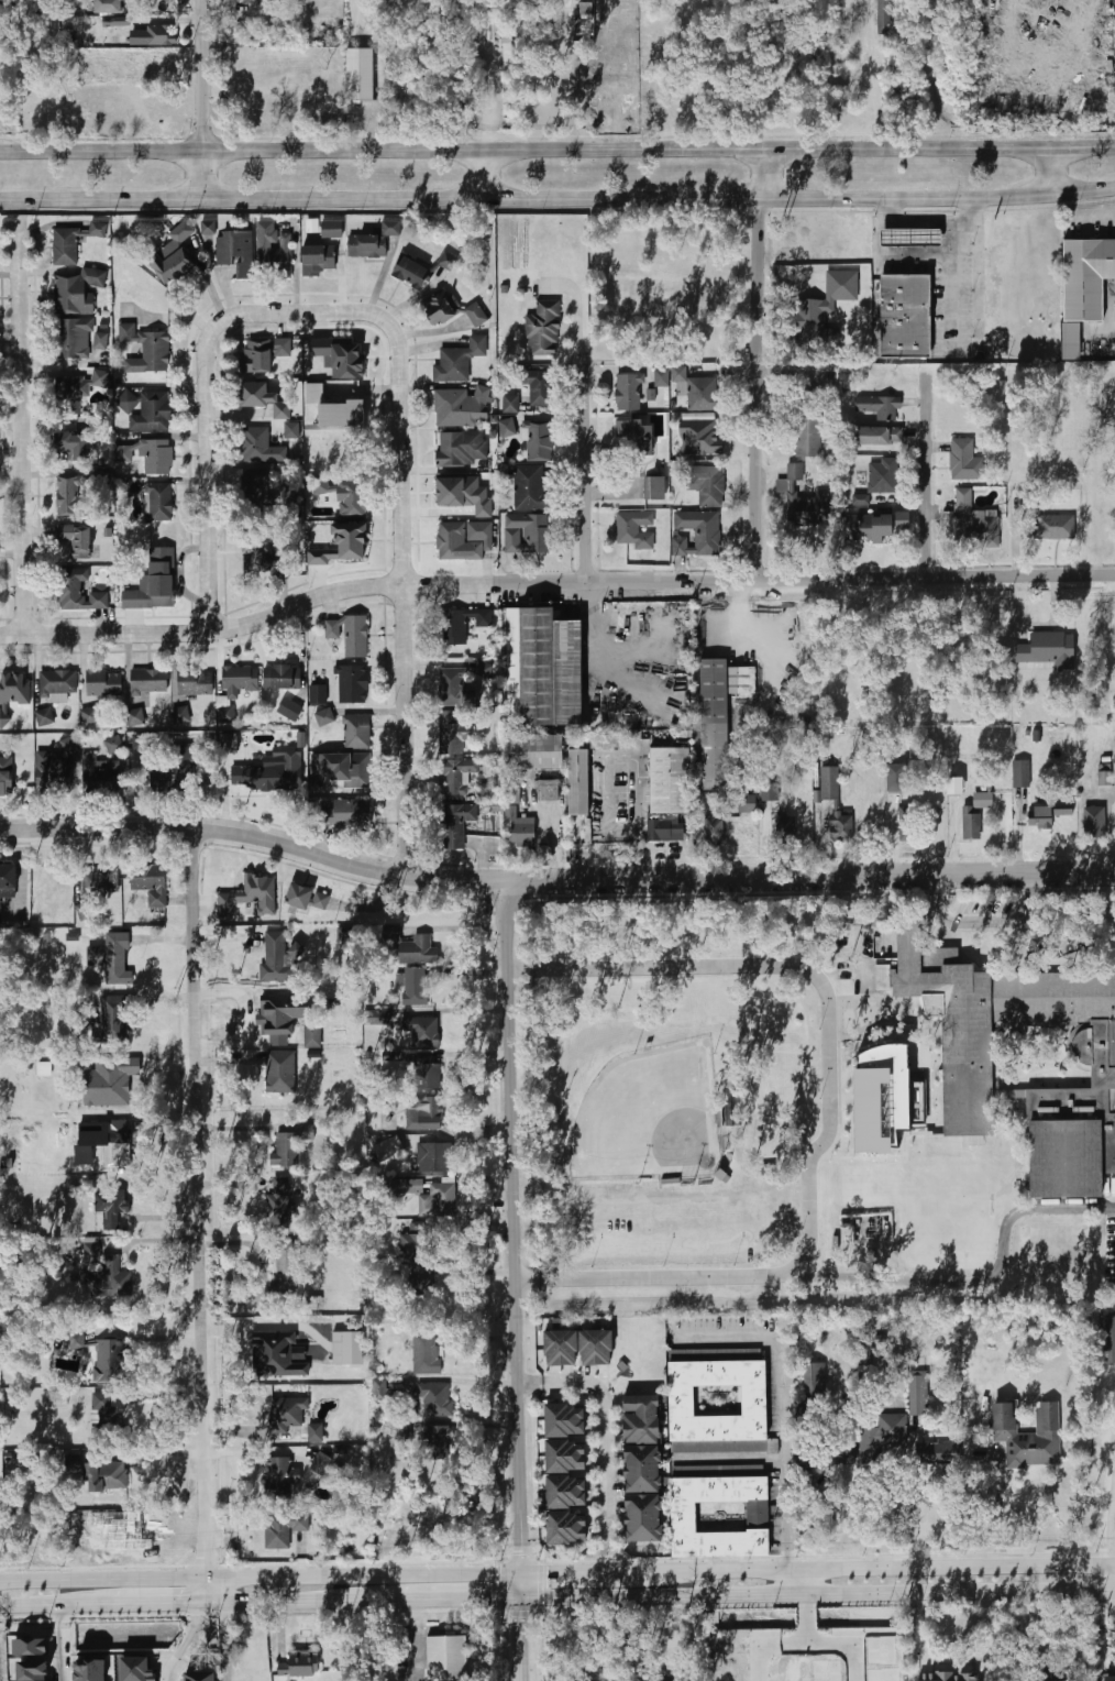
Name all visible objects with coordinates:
building: (109, 7)
building: (885, 13)
building: (161, 35)
building: (507, 70)
building: (360, 74)
road: (200, 99)
road: (557, 147)
road: (1055, 171)
road: (481, 173)
road: (557, 198)
road: (931, 221)
building: (97, 229)
building: (331, 229)
building: (909, 238)
gas station: (909, 238)
building: (373, 241)
building: (65, 246)
building: (235, 252)
building: (274, 252)
road: (894, 253)
building: (319, 261)
building: (448, 261)
building: (179, 265)
building: (411, 273)
building: (1086, 277)
road: (951, 287)
building: (77, 292)
building: (825, 308)
building: (440, 309)
building: (476, 315)
building: (904, 315)
road: (1112, 326)
building: (543, 328)
building: (71, 339)
road: (584, 339)
building: (101, 341)
building: (1071, 341)
building: (146, 349)
building: (263, 354)
building: (340, 356)
building: (459, 361)
road: (759, 362)
road: (606, 369)
building: (662, 377)
building: (538, 386)
road: (208, 387)
building: (76, 391)
building: (699, 391)
building: (629, 393)
building: (264, 399)
building: (510, 404)
building: (461, 407)
building: (879, 407)
building: (146, 409)
building: (343, 414)
building: (698, 415)
building: (809, 426)
road: (24, 427)
building: (507, 428)
building: (290, 430)
building: (877, 436)
building: (699, 437)
building: (634, 439)
building: (540, 442)
building: (258, 447)
building: (70, 448)
building: (462, 448)
building: (156, 458)
building: (964, 461)
road: (930, 470)
building: (883, 475)
road: (588, 476)
building: (706, 484)
building: (129, 488)
building: (254, 488)
building: (531, 488)
building: (656, 488)
building: (464, 492)
road: (614, 493)
building: (68, 495)
building: (354, 498)
building: (861, 499)
building: (804, 501)
building: (159, 503)
road: (438, 512)
building: (976, 521)
building: (875, 526)
building: (1053, 526)
building: (636, 529)
building: (528, 534)
building: (697, 534)
building: (77, 539)
building: (456, 542)
building: (344, 546)
building: (263, 558)
road: (649, 568)
road: (515, 570)
road: (483, 574)
building: (155, 582)
road: (553, 583)
building: (77, 591)
road: (407, 597)
building: (461, 625)
building: (350, 635)
building: (1046, 648)
building: (543, 669)
building: (283, 678)
building: (148, 681)
building: (195, 682)
building: (104, 683)
building: (56, 684)
building: (352, 684)
building: (452, 686)
building: (234, 689)
building: (12, 693)
building: (318, 694)
building: (289, 710)
building: (180, 715)
building: (719, 715)
building: (45, 716)
building: (89, 716)
building: (133, 717)
building: (325, 717)
building: (356, 732)
building: (452, 732)
building: (143, 741)
building: (229, 744)
building: (114, 745)
building: (536, 751)
building: (55, 768)
building: (342, 768)
building: (172, 770)
building: (273, 771)
building: (100, 773)
building: (1022, 773)
building: (5, 776)
building: (457, 777)
building: (895, 778)
building: (1105, 779)
building: (578, 782)
building: (829, 782)
building: (954, 787)
building: (548, 790)
building: (487, 791)
building: (770, 792)
building: (667, 793)
building: (748, 803)
building: (344, 813)
building: (975, 814)
building: (1046, 814)
building: (1095, 823)
building: (455, 824)
building: (715, 828)
building: (841, 828)
building: (786, 829)
building: (522, 832)
building: (906, 832)
road: (256, 837)
road: (640, 854)
road: (482, 861)
road: (812, 876)
building: (146, 878)
building: (9, 881)
building: (98, 881)
road: (940, 887)
road: (1034, 890)
building: (250, 896)
building: (310, 899)
road: (981, 922)
building: (851, 943)
building: (418, 949)
building: (269, 952)
building: (112, 957)
road: (820, 985)
building: (415, 988)
building: (277, 1017)
building: (379, 1017)
building: (111, 1026)
building: (424, 1033)
building: (312, 1039)
building: (965, 1054)
building: (280, 1072)
building: (427, 1073)
building: (104, 1084)
building: (887, 1100)
building: (429, 1113)
park: (649, 1118)
building: (118, 1138)
building: (389, 1149)
building: (280, 1153)
building: (434, 1157)
building: (408, 1186)
building: (279, 1202)
building: (430, 1204)
building: (112, 1206)
road: (202, 1215)
building: (412, 1245)
building: (91, 1252)
building: (288, 1274)
road: (840, 1276)
building: (419, 1277)
building: (111, 1279)
road: (518, 1281)
building: (1111, 1290)
road: (255, 1327)
road: (726, 1337)
building: (1106, 1339)
building: (75, 1341)
building: (347, 1348)
building: (565, 1348)
building: (600, 1348)
building: (863, 1352)
building: (426, 1353)
building: (277, 1354)
building: (110, 1360)
building: (815, 1380)
road: (531, 1386)
building: (379, 1389)
building: (919, 1393)
building: (434, 1398)
building: (683, 1402)
building: (284, 1414)
building: (107, 1415)
building: (645, 1419)
building: (566, 1421)
building: (886, 1430)
building: (316, 1432)
building: (402, 1435)
building: (1026, 1435)
building: (439, 1441)
road: (604, 1441)
road: (785, 1451)
building: (941, 1452)
building: (568, 1457)
road: (729, 1460)
building: (320, 1463)
building: (645, 1469)
building: (67, 1471)
building: (104, 1475)
building: (277, 1479)
building: (567, 1492)
road: (915, 1506)
road: (1104, 1509)
road: (997, 1513)
building: (684, 1516)
building: (647, 1518)
building: (568, 1527)
building: (283, 1529)
traffic signals: (523, 1552)
road: (606, 1559)
road: (896, 1567)
traffic signals: (542, 1571)
road: (600, 1571)
road: (261, 1576)
road: (1103, 1576)
road: (791, 1581)
road: (819, 1593)
road: (433, 1598)
traffic signals: (498, 1598)
road: (276, 1602)
road: (130, 1605)
road: (25, 1607)
road: (807, 1618)
traffic signals: (526, 1619)
road: (224, 1641)
road: (848, 1642)
road: (63, 1644)
road: (194, 1644)
road: (764, 1644)
building: (30, 1647)
building: (446, 1658)
road: (952, 1658)
building: (299, 1664)
building: (136, 1669)
building: (32, 1670)
building: (89, 1670)
building: (200, 1677)
building: (947, 1678)
building: (1110, 1678)

